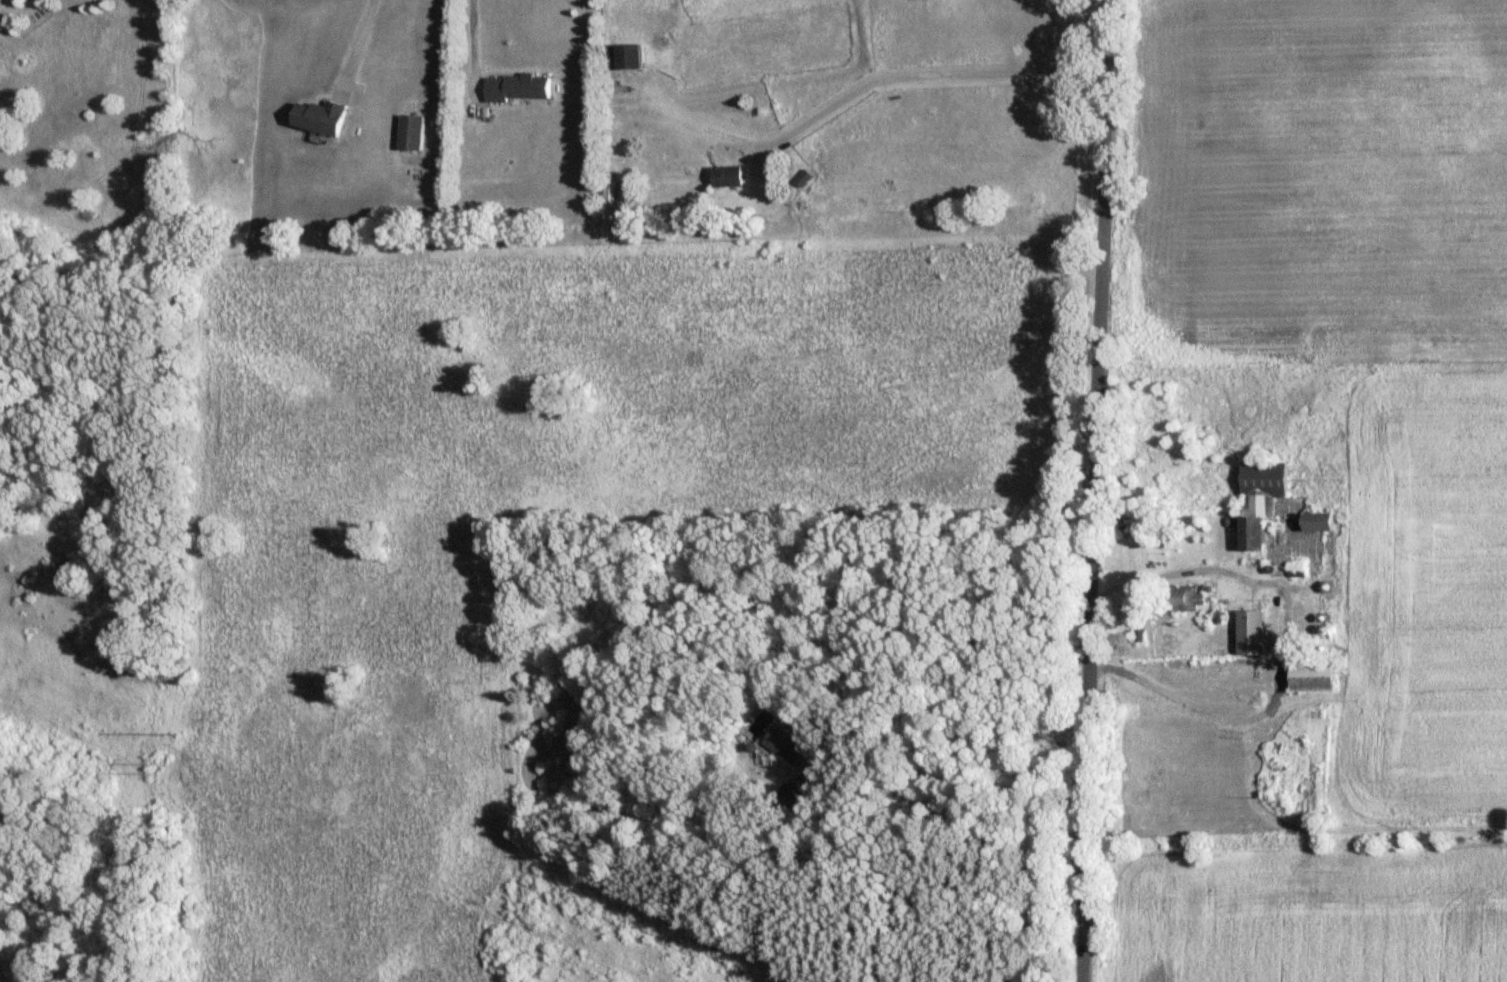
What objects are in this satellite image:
road: (360, 39)
road: (469, 50)
building: (626, 57)
road: (918, 73)
building: (519, 88)
building: (325, 118)
building: (414, 133)
building: (730, 175)
building: (806, 178)
building: (606, 190)
road: (1092, 491)
building: (1265, 507)
building: (1135, 521)
building: (1326, 523)
building: (1194, 599)
building: (1255, 633)
building: (1318, 677)
road: (941, 706)
power tower: (179, 733)
building: (789, 744)
power tower: (163, 771)

